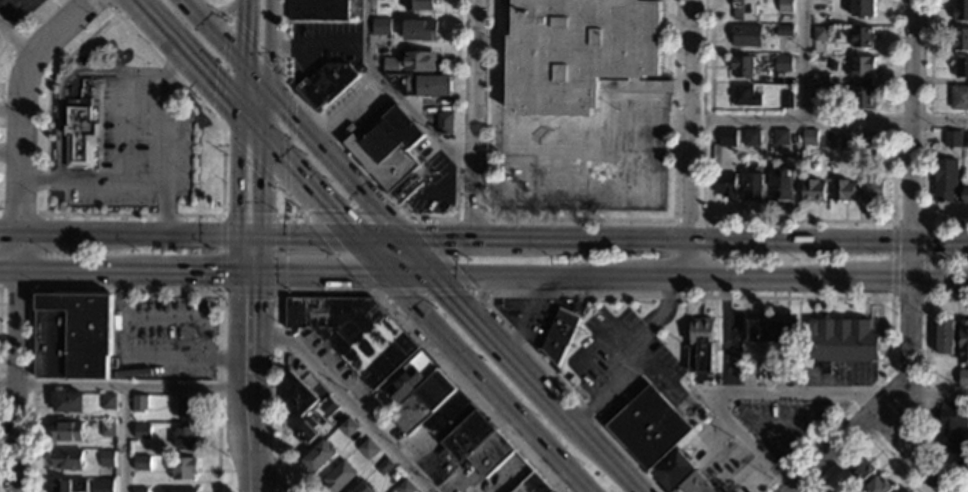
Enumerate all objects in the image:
road: (244, 1)
road: (212, 2)
road: (220, 2)
building: (419, 5)
road: (135, 6)
building: (784, 6)
road: (106, 7)
building: (862, 8)
building: (317, 10)
building: (742, 10)
building: (960, 10)
road: (220, 12)
road: (221, 12)
road: (20, 20)
building: (380, 27)
road: (212, 30)
road: (232, 30)
road: (241, 30)
building: (418, 30)
building: (783, 30)
building: (818, 33)
building: (745, 35)
building: (861, 37)
road: (16, 39)
building: (960, 39)
road: (267, 44)
road: (316, 46)
building: (580, 54)
traffic signals: (240, 60)
building: (420, 62)
road: (805, 62)
building: (781, 63)
building: (391, 65)
building: (741, 66)
building: (861, 67)
building: (960, 68)
road: (194, 69)
road: (253, 74)
building: (819, 78)
building: (85, 84)
road: (180, 84)
building: (325, 84)
building: (421, 85)
road: (287, 88)
traffic signals: (266, 89)
road: (245, 92)
building: (818, 93)
road: (394, 95)
building: (744, 95)
building: (860, 98)
building: (959, 98)
building: (786, 101)
road: (19, 102)
road: (60, 104)
road: (258, 107)
road: (9, 111)
road: (346, 111)
road: (289, 115)
road: (474, 119)
road: (9, 122)
building: (443, 123)
road: (830, 124)
traffic signals: (251, 125)
road: (495, 127)
road: (927, 131)
building: (78, 135)
road: (692, 137)
building: (725, 137)
building: (778, 137)
building: (808, 138)
building: (877, 138)
building: (839, 139)
building: (866, 139)
road: (911, 139)
building: (952, 139)
building: (964, 139)
road: (117, 141)
building: (750, 142)
building: (385, 144)
road: (159, 155)
road: (250, 180)
building: (943, 180)
road: (303, 181)
road: (139, 184)
building: (781, 184)
building: (724, 185)
building: (751, 186)
building: (871, 189)
building: (811, 190)
building: (841, 190)
road: (354, 191)
road: (664, 192)
building: (964, 196)
road: (291, 202)
road: (22, 212)
road: (303, 216)
road: (408, 217)
road: (471, 219)
road: (582, 219)
road: (800, 220)
road: (909, 221)
road: (9, 231)
road: (55, 232)
road: (170, 235)
traffic signals: (250, 236)
road: (302, 237)
traffic signals: (355, 239)
road: (376, 239)
traffic signals: (397, 239)
road: (465, 239)
road: (751, 239)
road: (707, 241)
road: (18, 251)
road: (250, 254)
road: (371, 256)
road: (414, 257)
road: (891, 260)
road: (925, 260)
road: (36, 266)
road: (9, 270)
road: (77, 271)
road: (192, 272)
traffic signals: (250, 273)
road: (318, 274)
traffic signals: (388, 274)
road: (410, 274)
traffic signals: (432, 275)
road: (531, 275)
road: (661, 275)
road: (772, 277)
road: (881, 279)
road: (939, 280)
road: (279, 287)
road: (126, 289)
road: (358, 291)
road: (470, 291)
road: (479, 294)
road: (479, 295)
road: (680, 296)
road: (907, 299)
road: (183, 316)
building: (772, 331)
building: (354, 333)
building: (559, 335)
building: (73, 336)
building: (945, 337)
road: (630, 338)
building: (840, 341)
building: (963, 341)
building: (701, 349)
road: (908, 349)
road: (143, 358)
road: (646, 362)
parking lot: (624, 364)
building: (803, 371)
building: (790, 372)
building: (777, 374)
building: (963, 377)
road: (924, 380)
road: (16, 381)
road: (250, 382)
road: (488, 383)
road: (535, 383)
road: (124, 385)
road: (725, 388)
road: (608, 390)
road: (933, 392)
building: (296, 396)
road: (346, 400)
building: (107, 401)
building: (68, 402)
building: (139, 402)
building: (370, 403)
building: (187, 406)
building: (327, 406)
building: (445, 415)
road: (860, 421)
building: (347, 427)
building: (648, 427)
building: (107, 428)
building: (68, 431)
building: (142, 431)
building: (305, 431)
building: (953, 432)
road: (870, 436)
road: (124, 439)
building: (184, 439)
road: (252, 449)
building: (367, 449)
road: (837, 451)
road: (919, 451)
building: (106, 455)
building: (318, 457)
building: (67, 459)
building: (141, 463)
building: (383, 467)
building: (182, 468)
building: (860, 468)
building: (673, 471)
building: (338, 477)
road: (265, 478)
road: (280, 480)
building: (533, 484)
building: (696, 484)
building: (69, 485)
building: (103, 486)
building: (876, 486)
building: (360, 487)
building: (404, 487)
building: (139, 490)
building: (178, 490)
building: (903, 490)
building: (828, 491)
road: (967, 491)

